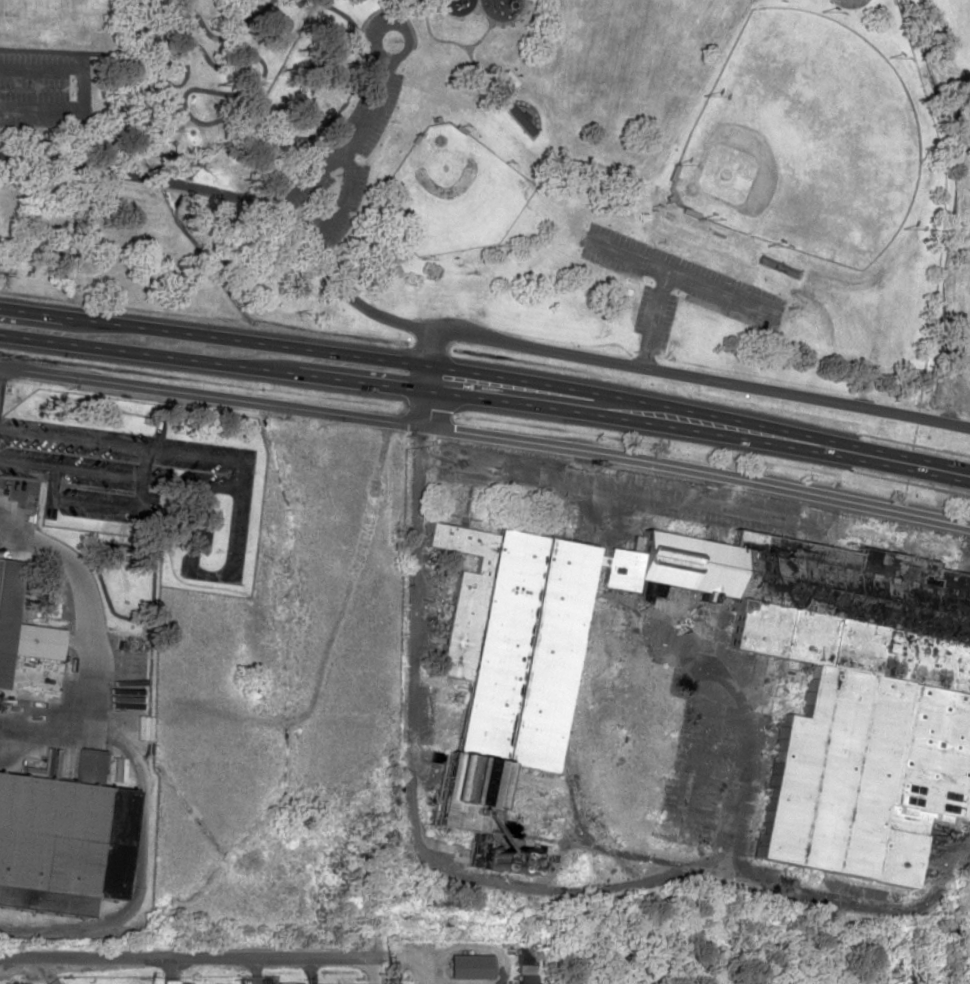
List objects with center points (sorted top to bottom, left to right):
road: (456, 17)
road: (394, 20)
road: (501, 24)
road: (480, 37)
road: (448, 41)
park: (968, 70)
road: (84, 86)
park: (803, 140)
road: (347, 144)
park: (511, 176)
park: (451, 193)
road: (341, 201)
road: (680, 276)
road: (339, 284)
road: (655, 319)
road: (299, 349)
road: (297, 374)
road: (684, 375)
road: (425, 396)
road: (212, 398)
road: (782, 438)
road: (698, 472)
building: (653, 590)
building: (21, 627)
building: (883, 713)
road: (129, 758)
building: (61, 839)
road: (180, 957)
building: (525, 960)
building: (469, 966)
building: (525, 979)
building: (286, 983)

